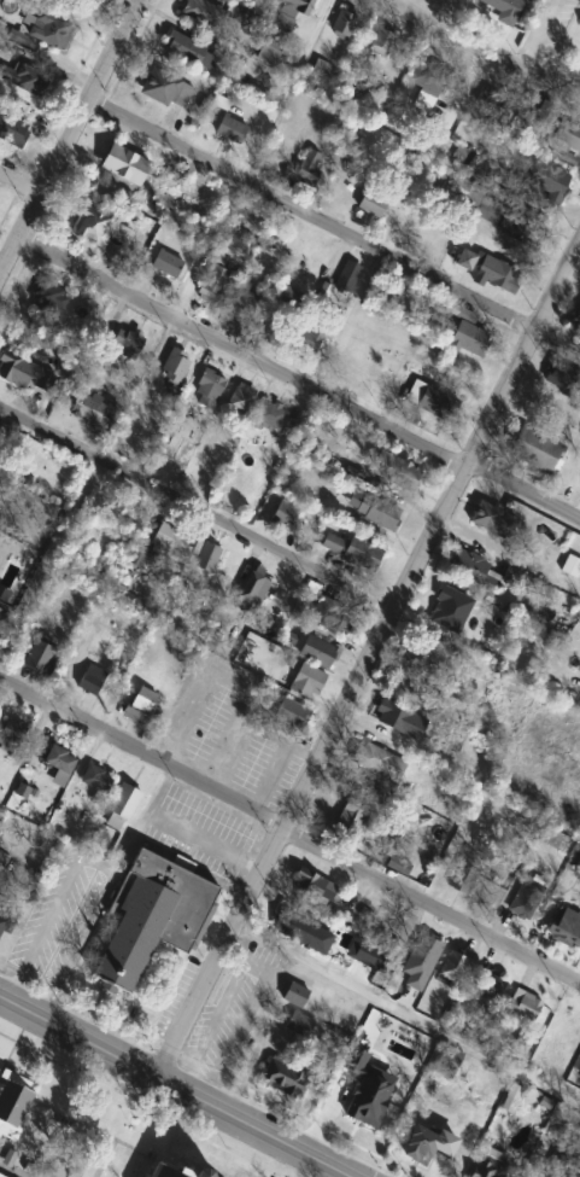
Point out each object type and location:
building: (298, 6)
building: (505, 10)
building: (211, 18)
building: (579, 18)
parking lot: (556, 23)
building: (344, 24)
building: (51, 30)
road: (533, 33)
building: (382, 42)
road: (485, 49)
building: (191, 51)
building: (269, 51)
road: (293, 60)
building: (429, 77)
building: (29, 81)
building: (166, 89)
building: (488, 101)
building: (14, 126)
building: (232, 130)
road: (70, 135)
building: (567, 135)
road: (434, 150)
building: (124, 165)
building: (310, 167)
building: (544, 180)
road: (19, 183)
building: (377, 198)
building: (499, 212)
road: (333, 226)
building: (93, 227)
building: (112, 252)
building: (467, 260)
building: (164, 267)
building: (498, 275)
building: (347, 278)
building: (213, 285)
building: (49, 301)
building: (247, 305)
building: (576, 320)
building: (470, 339)
building: (123, 349)
building: (175, 367)
building: (24, 373)
building: (562, 377)
road: (297, 383)
building: (209, 390)
building: (241, 400)
building: (433, 401)
building: (94, 410)
building: (270, 418)
building: (1, 435)
building: (535, 450)
building: (399, 474)
building: (113, 505)
road: (195, 511)
building: (285, 512)
building: (377, 512)
building: (492, 520)
building: (170, 540)
building: (333, 543)
building: (362, 554)
building: (207, 557)
building: (467, 567)
building: (572, 567)
building: (254, 589)
building: (333, 617)
building: (318, 652)
road: (371, 652)
building: (40, 658)
building: (421, 664)
building: (92, 681)
building: (307, 682)
building: (140, 705)
building: (293, 709)
building: (399, 719)
building: (11, 733)
building: (379, 762)
building: (59, 764)
building: (96, 779)
building: (122, 808)
building: (0, 822)
building: (352, 823)
road: (289, 832)
road: (96, 860)
building: (465, 874)
building: (526, 899)
road: (263, 908)
building: (5, 914)
building: (152, 916)
building: (566, 920)
building: (293, 927)
building: (453, 967)
building: (295, 995)
building: (488, 995)
building: (525, 1006)
road: (234, 1007)
road: (404, 1012)
building: (558, 1035)
building: (446, 1062)
building: (286, 1078)
road: (180, 1084)
building: (12, 1099)
building: (359, 1112)
building: (83, 1120)
building: (427, 1146)
building: (156, 1156)
road: (307, 1165)
building: (491, 1165)
building: (176, 1171)
building: (2, 1175)

